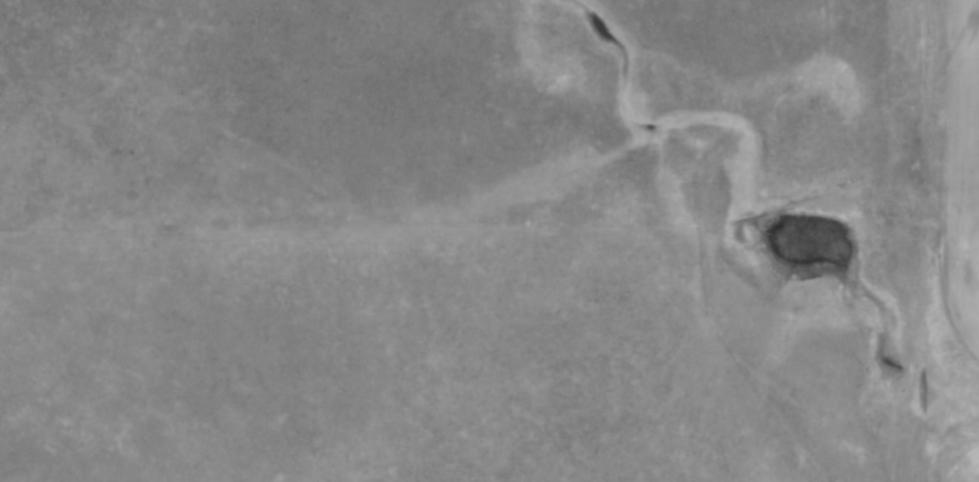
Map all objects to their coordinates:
road: (912, 241)

